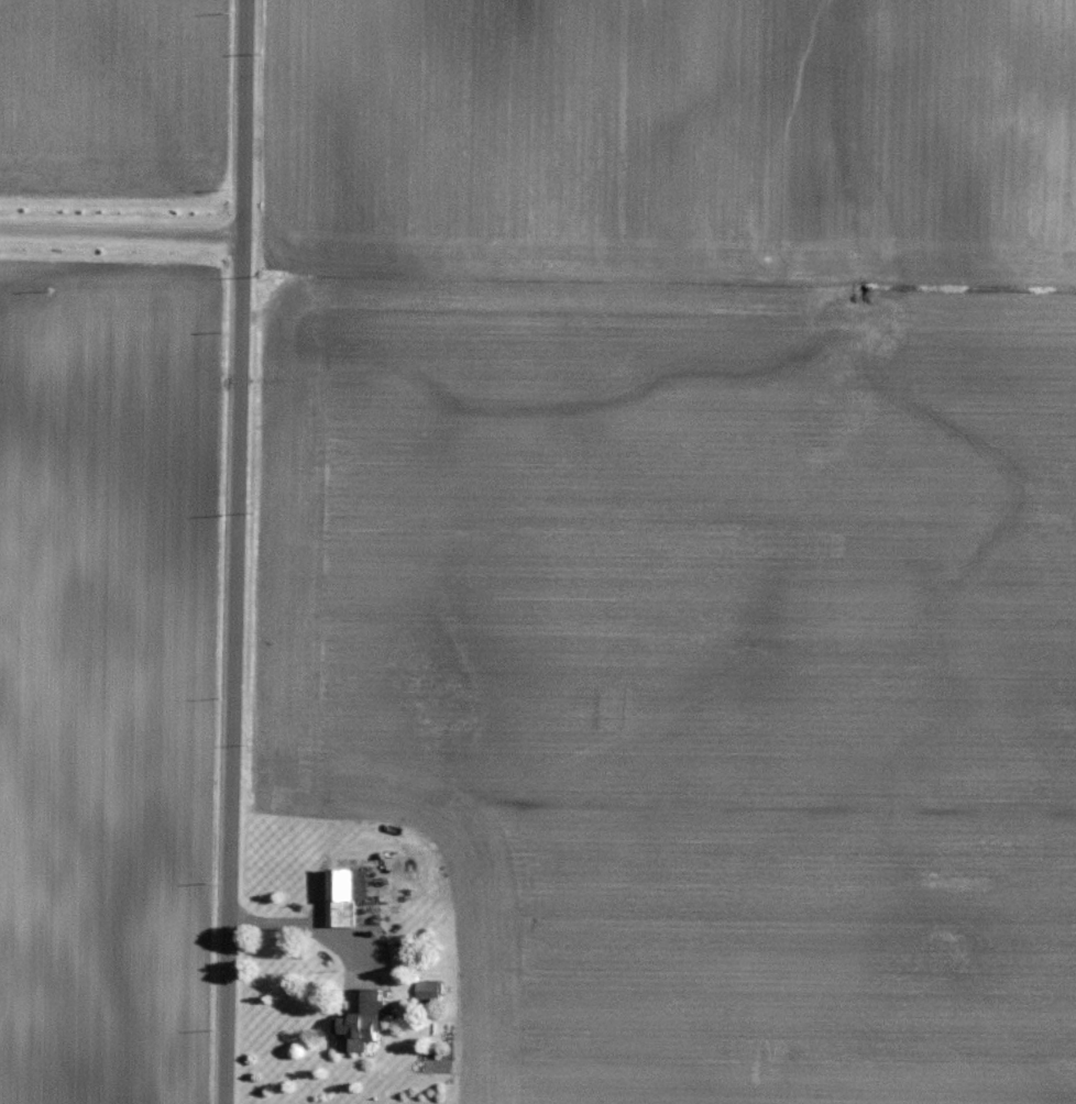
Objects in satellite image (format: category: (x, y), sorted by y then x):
road: (120, 231)
road: (233, 551)
building: (347, 892)
road: (306, 919)
building: (361, 1028)

